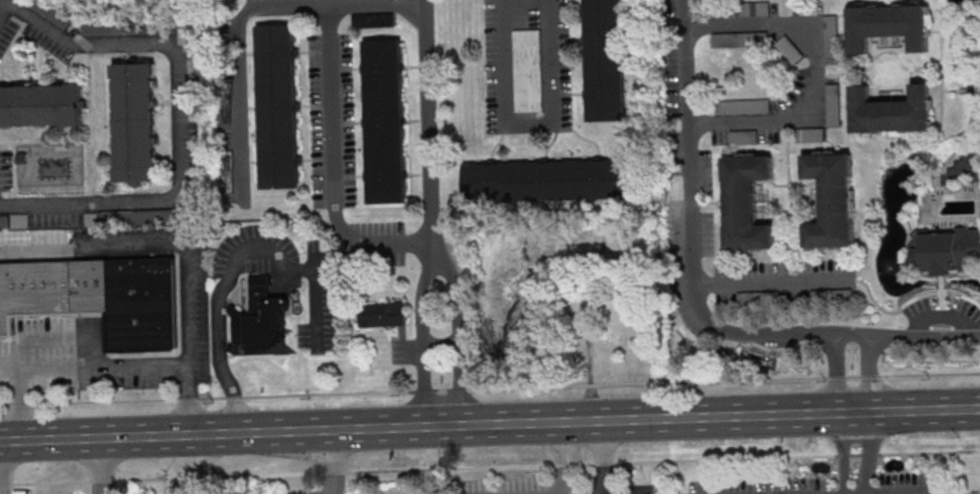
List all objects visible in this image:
building: (755, 8)
road: (5, 13)
building: (53, 13)
road: (785, 13)
building: (373, 20)
building: (888, 24)
building: (120, 27)
building: (830, 27)
road: (934, 31)
road: (941, 33)
building: (733, 38)
road: (871, 47)
road: (889, 50)
road: (240, 60)
building: (605, 60)
road: (911, 67)
building: (529, 70)
road: (818, 76)
road: (872, 83)
road: (969, 89)
building: (224, 102)
road: (935, 103)
building: (832, 104)
building: (41, 105)
building: (278, 105)
road: (942, 105)
building: (890, 110)
road: (329, 119)
road: (429, 119)
building: (385, 120)
building: (135, 121)
road: (527, 122)
road: (178, 124)
building: (809, 134)
building: (961, 168)
building: (226, 171)
building: (546, 179)
road: (788, 184)
building: (832, 198)
building: (746, 201)
road: (709, 202)
road: (790, 202)
road: (720, 206)
building: (144, 215)
road: (790, 217)
building: (4, 221)
road: (432, 240)
road: (152, 249)
building: (947, 250)
road: (942, 281)
road: (772, 282)
building: (99, 298)
road: (316, 298)
road: (696, 298)
road: (908, 301)
road: (220, 304)
road: (943, 304)
building: (382, 313)
road: (941, 316)
building: (259, 319)
road: (64, 340)
road: (101, 368)
road: (10, 369)
road: (870, 372)
road: (833, 373)
road: (931, 374)
road: (836, 376)
road: (853, 376)
road: (870, 376)
road: (710, 381)
road: (590, 385)
road: (529, 387)
road: (460, 388)
road: (426, 389)
road: (443, 389)
road: (329, 394)
road: (212, 397)
road: (234, 397)
road: (188, 398)
road: (88, 401)
road: (926, 408)
road: (853, 410)
road: (417, 426)
road: (871, 451)
road: (842, 452)
road: (930, 453)
road: (855, 454)
road: (870, 454)
road: (843, 455)
road: (562, 457)
road: (603, 457)
road: (726, 458)
road: (342, 461)
road: (604, 462)
road: (582, 464)
road: (103, 465)
road: (559, 465)
road: (2, 467)
road: (447, 468)
road: (335, 471)
road: (248, 475)
road: (142, 478)
road: (103, 480)
road: (53, 481)
road: (7, 483)

